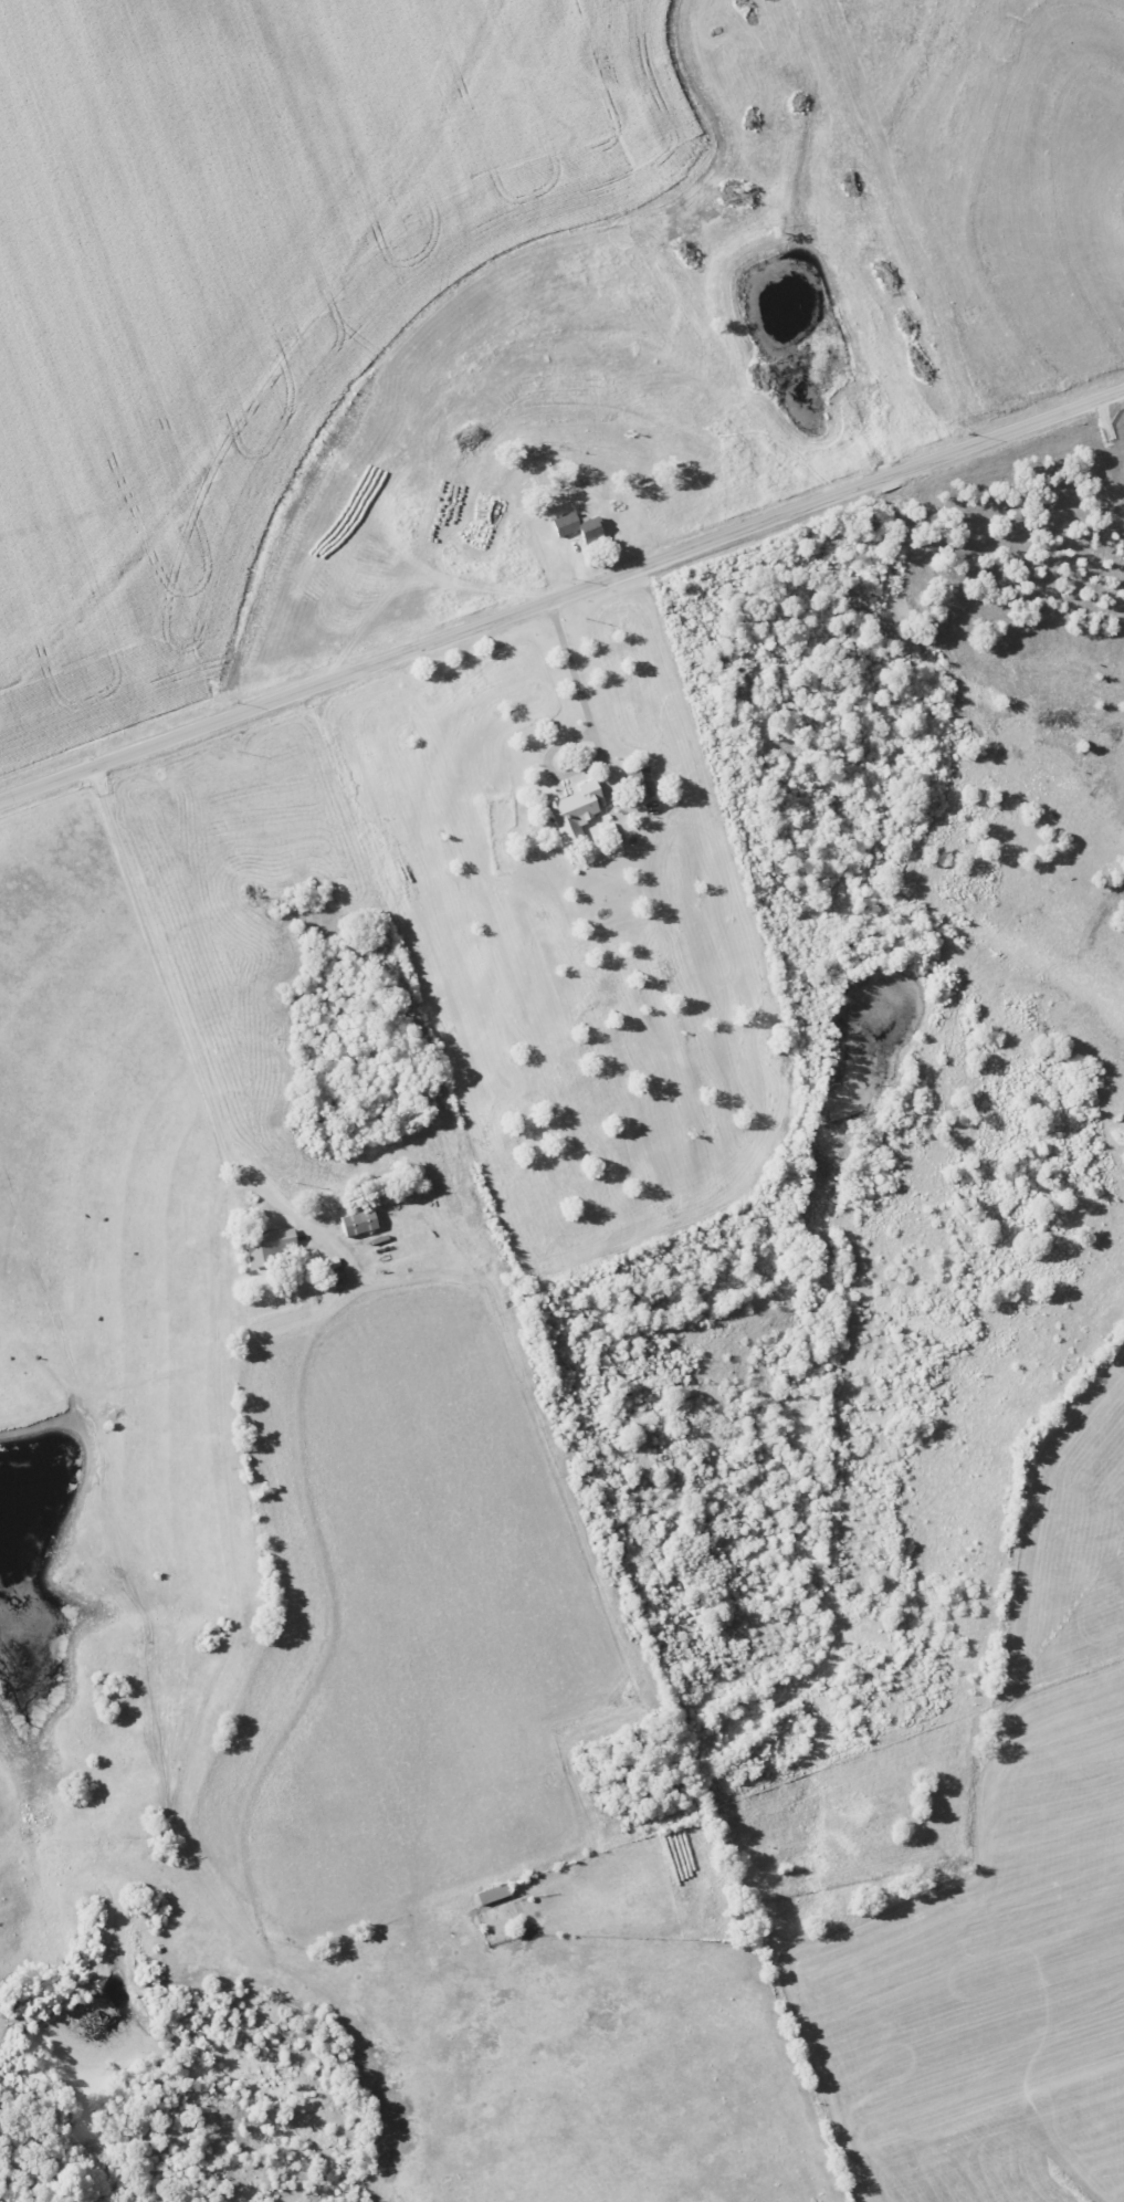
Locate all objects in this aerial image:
building: (576, 526)
road: (563, 596)
road: (576, 678)
building: (642, 783)
building: (572, 810)
building: (357, 1221)
building: (271, 1245)
road: (219, 1365)

